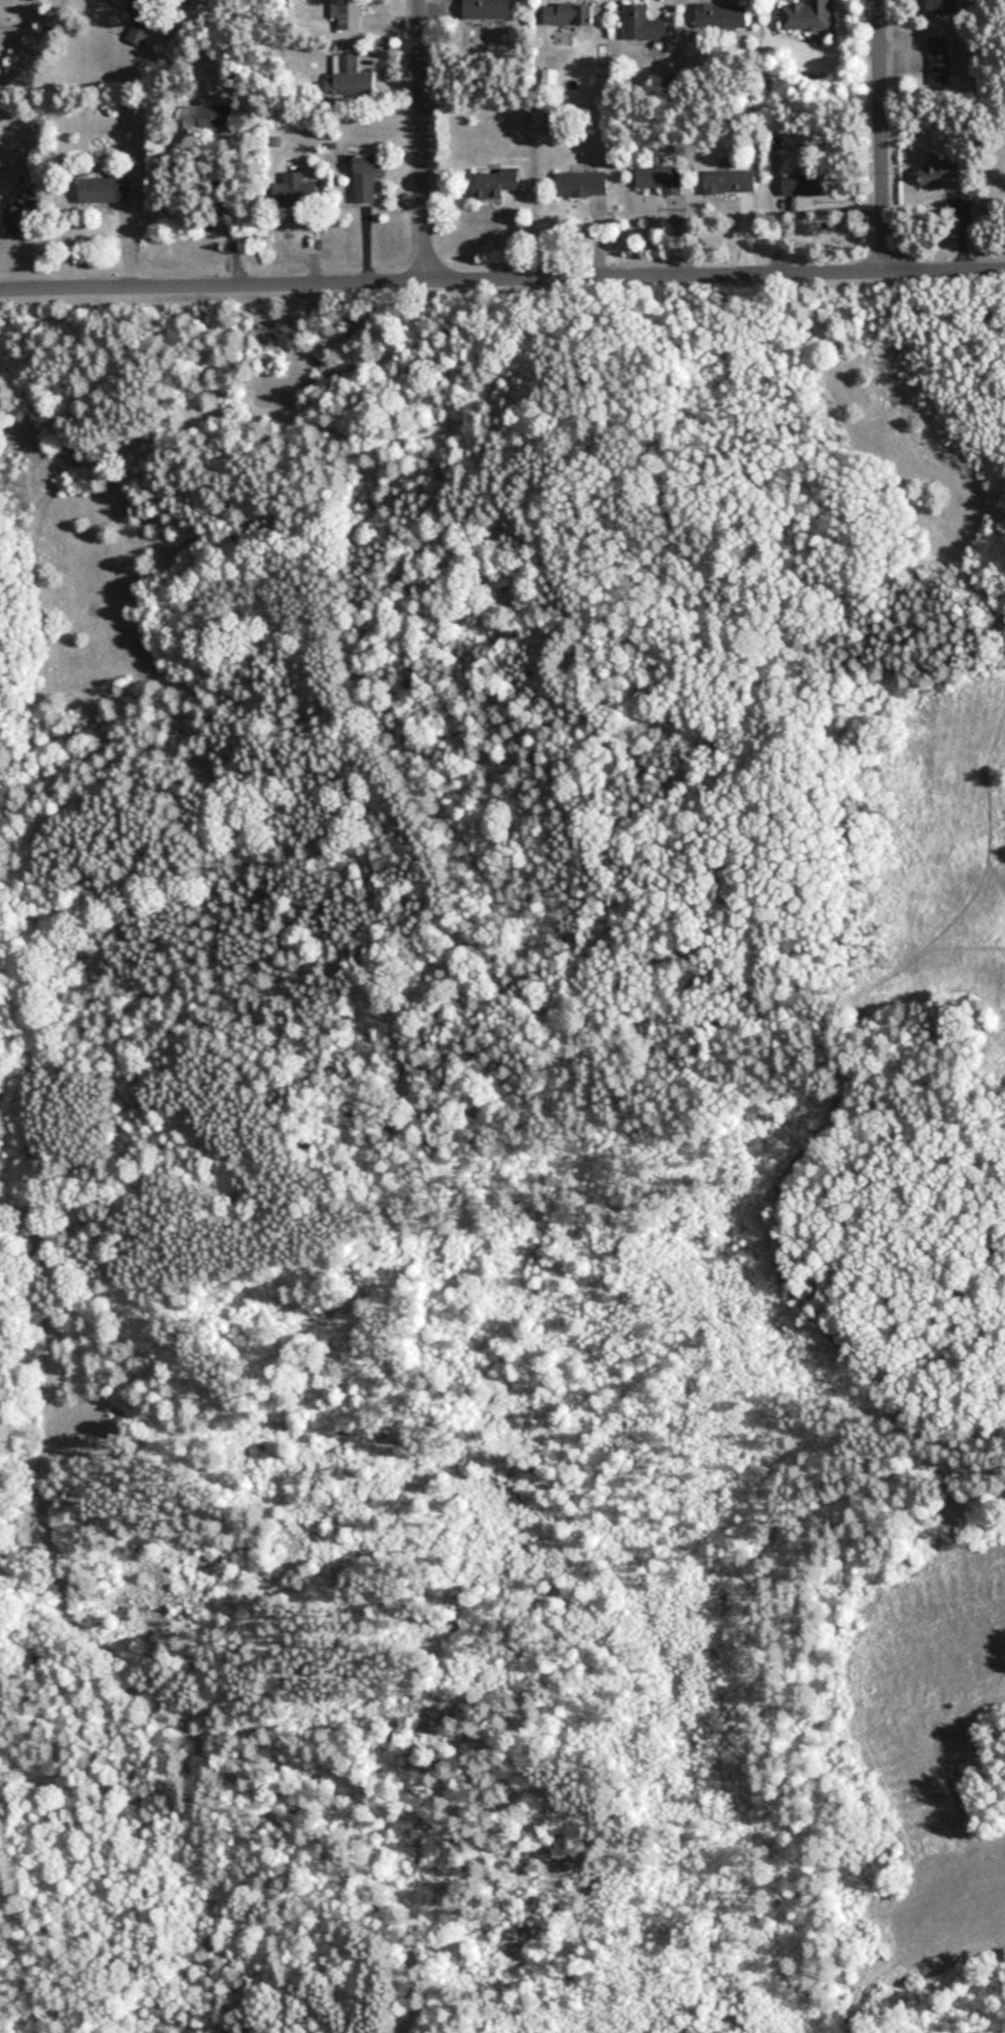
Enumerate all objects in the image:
building: (944, 7)
building: (488, 9)
building: (347, 14)
building: (568, 15)
building: (720, 16)
building: (806, 16)
building: (142, 19)
building: (642, 25)
road: (12, 42)
road: (33, 43)
building: (939, 60)
building: (349, 77)
building: (555, 120)
road: (885, 136)
road: (427, 141)
building: (940, 172)
building: (660, 178)
building: (365, 179)
building: (728, 181)
building: (495, 183)
building: (581, 184)
building: (107, 189)
building: (797, 190)
building: (296, 192)
road: (220, 216)
building: (15, 217)
road: (502, 281)
road: (224, 429)
road: (33, 1075)
road: (796, 1104)
park: (503, 1155)
road: (222, 1805)
road: (415, 2031)

